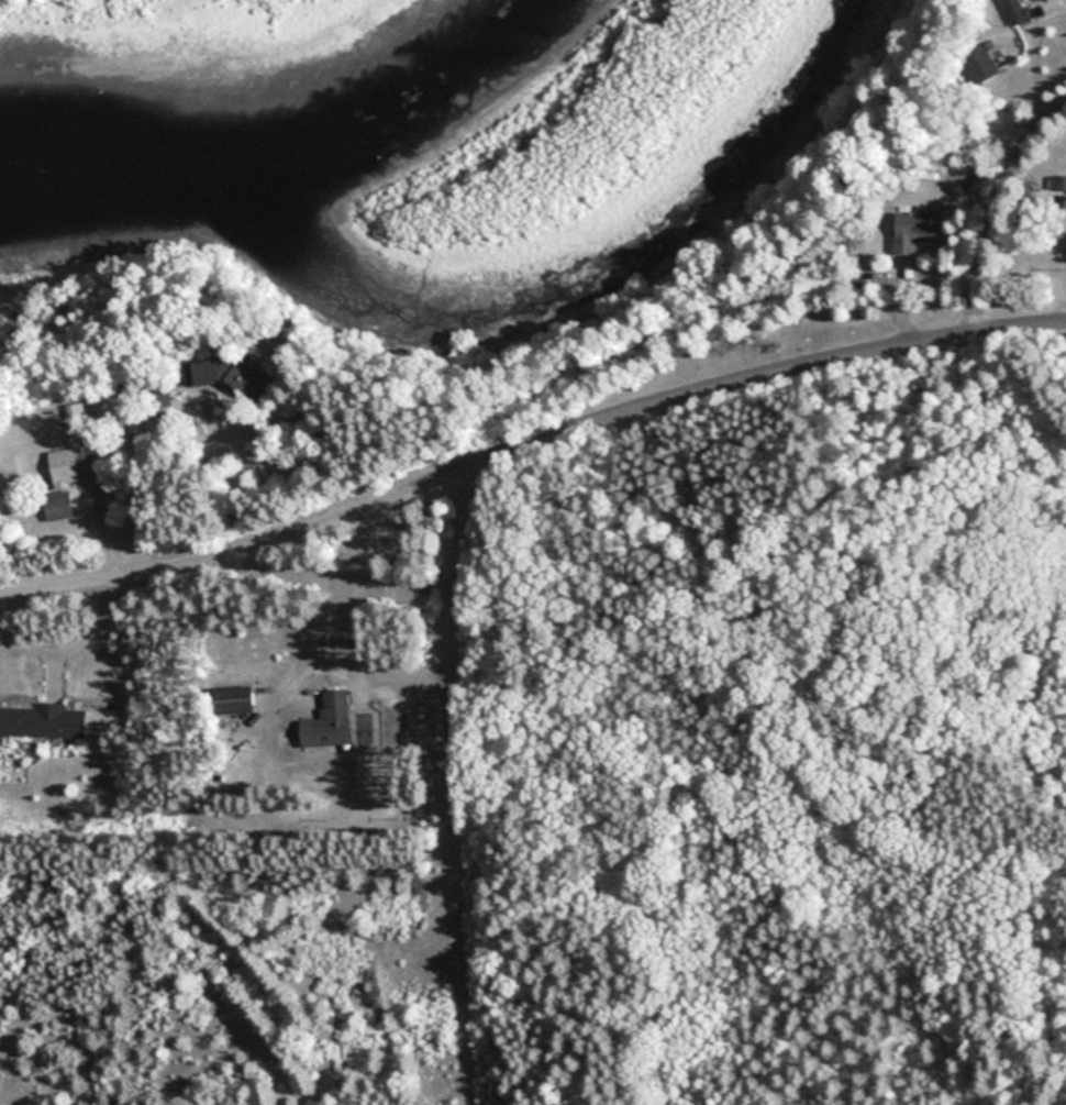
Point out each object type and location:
building: (1044, 0)
building: (1019, 12)
road: (1026, 54)
building: (986, 70)
river: (256, 85)
building: (1063, 184)
road: (992, 202)
building: (914, 231)
building: (233, 372)
road: (528, 445)
building: (66, 467)
building: (58, 506)
road: (343, 598)
building: (234, 699)
building: (43, 720)
building: (327, 720)
road: (462, 784)
park: (647, 789)
road: (832, 846)

